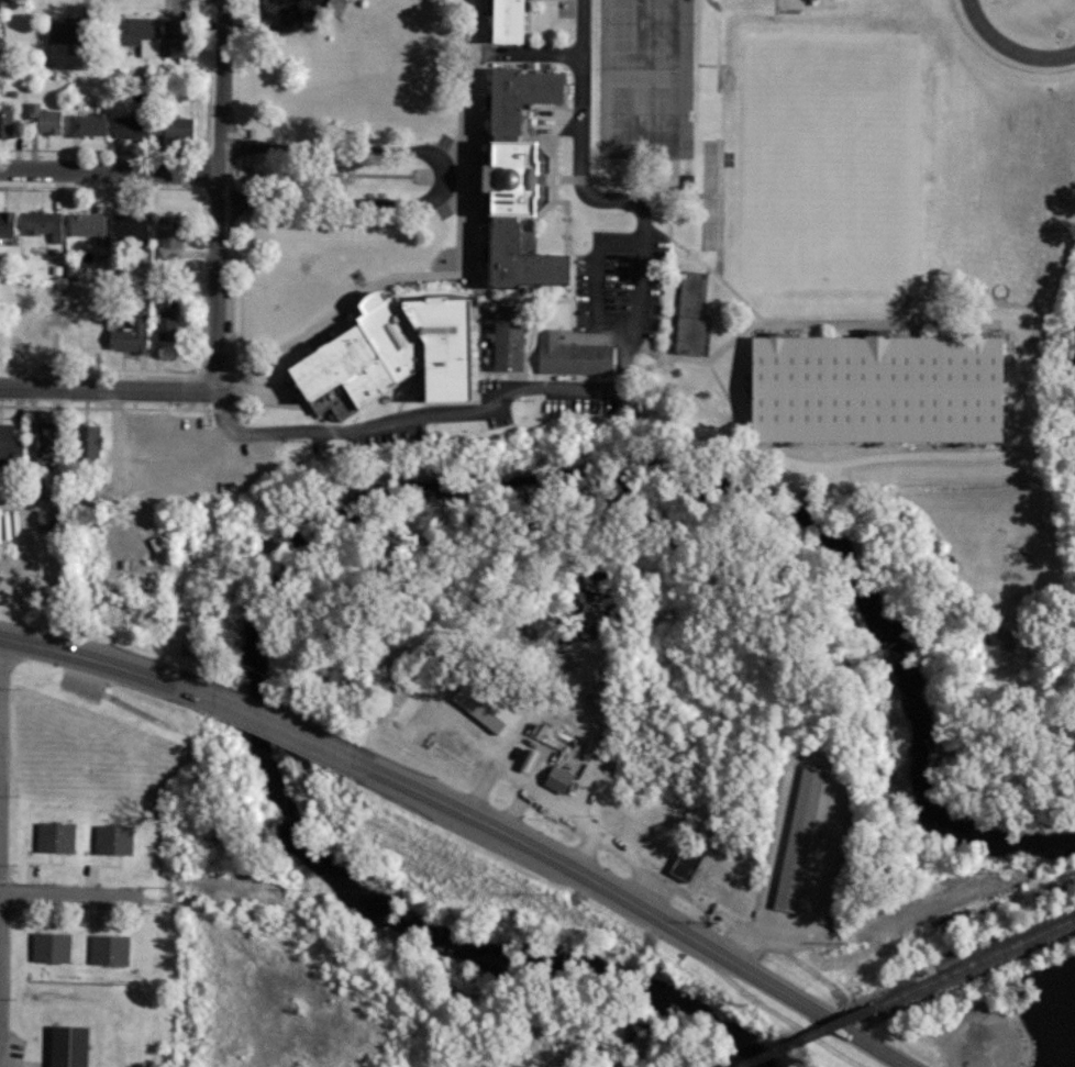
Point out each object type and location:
park: (1066, 8)
road: (464, 22)
building: (505, 24)
building: (57, 31)
track: (977, 35)
building: (152, 38)
road: (521, 64)
park: (634, 77)
road: (222, 84)
road: (581, 97)
building: (516, 103)
building: (45, 119)
building: (5, 120)
building: (87, 124)
building: (129, 127)
building: (173, 127)
park: (816, 143)
road: (110, 166)
road: (322, 169)
road: (450, 174)
building: (509, 190)
building: (8, 224)
building: (43, 224)
building: (85, 224)
building: (128, 229)
building: (168, 236)
road: (572, 269)
road: (641, 270)
building: (519, 273)
road: (215, 279)
parking lot: (614, 284)
building: (690, 312)
building: (164, 316)
road: (798, 318)
road: (318, 324)
road: (476, 332)
building: (128, 335)
building: (505, 345)
building: (390, 356)
building: (568, 357)
road: (703, 359)
road: (231, 385)
building: (872, 387)
road: (107, 388)
road: (724, 393)
road: (402, 420)
parking lot: (385, 440)
building: (8, 442)
building: (84, 442)
building: (42, 443)
parking lot: (184, 456)
road: (864, 456)
road: (54, 503)
building: (45, 519)
road: (86, 656)
building: (479, 701)
road: (265, 722)
building: (556, 779)
building: (54, 836)
building: (113, 840)
building: (789, 840)
building: (683, 858)
road: (93, 894)
road: (636, 907)
building: (49, 946)
building: (109, 949)
railway: (972, 960)
parking lot: (977, 1035)
railway: (800, 1036)
building: (66, 1046)

